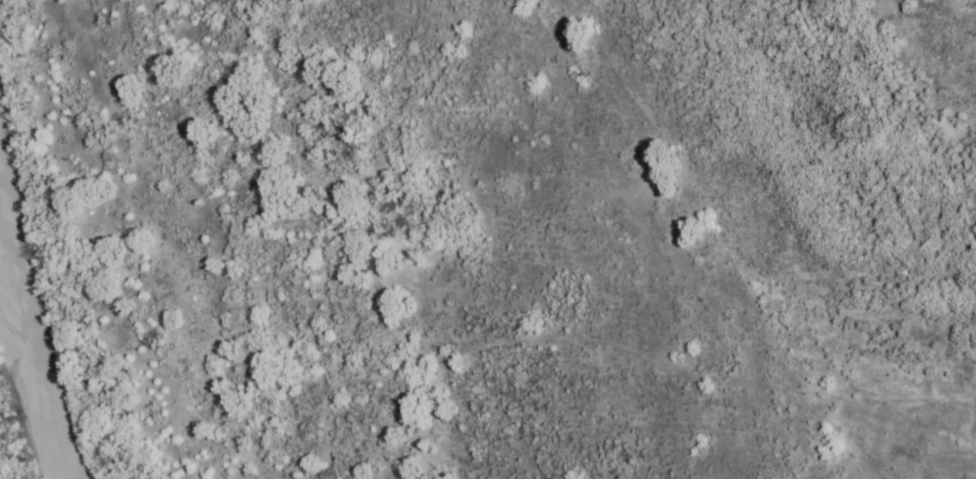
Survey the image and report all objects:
river: (20, 377)

